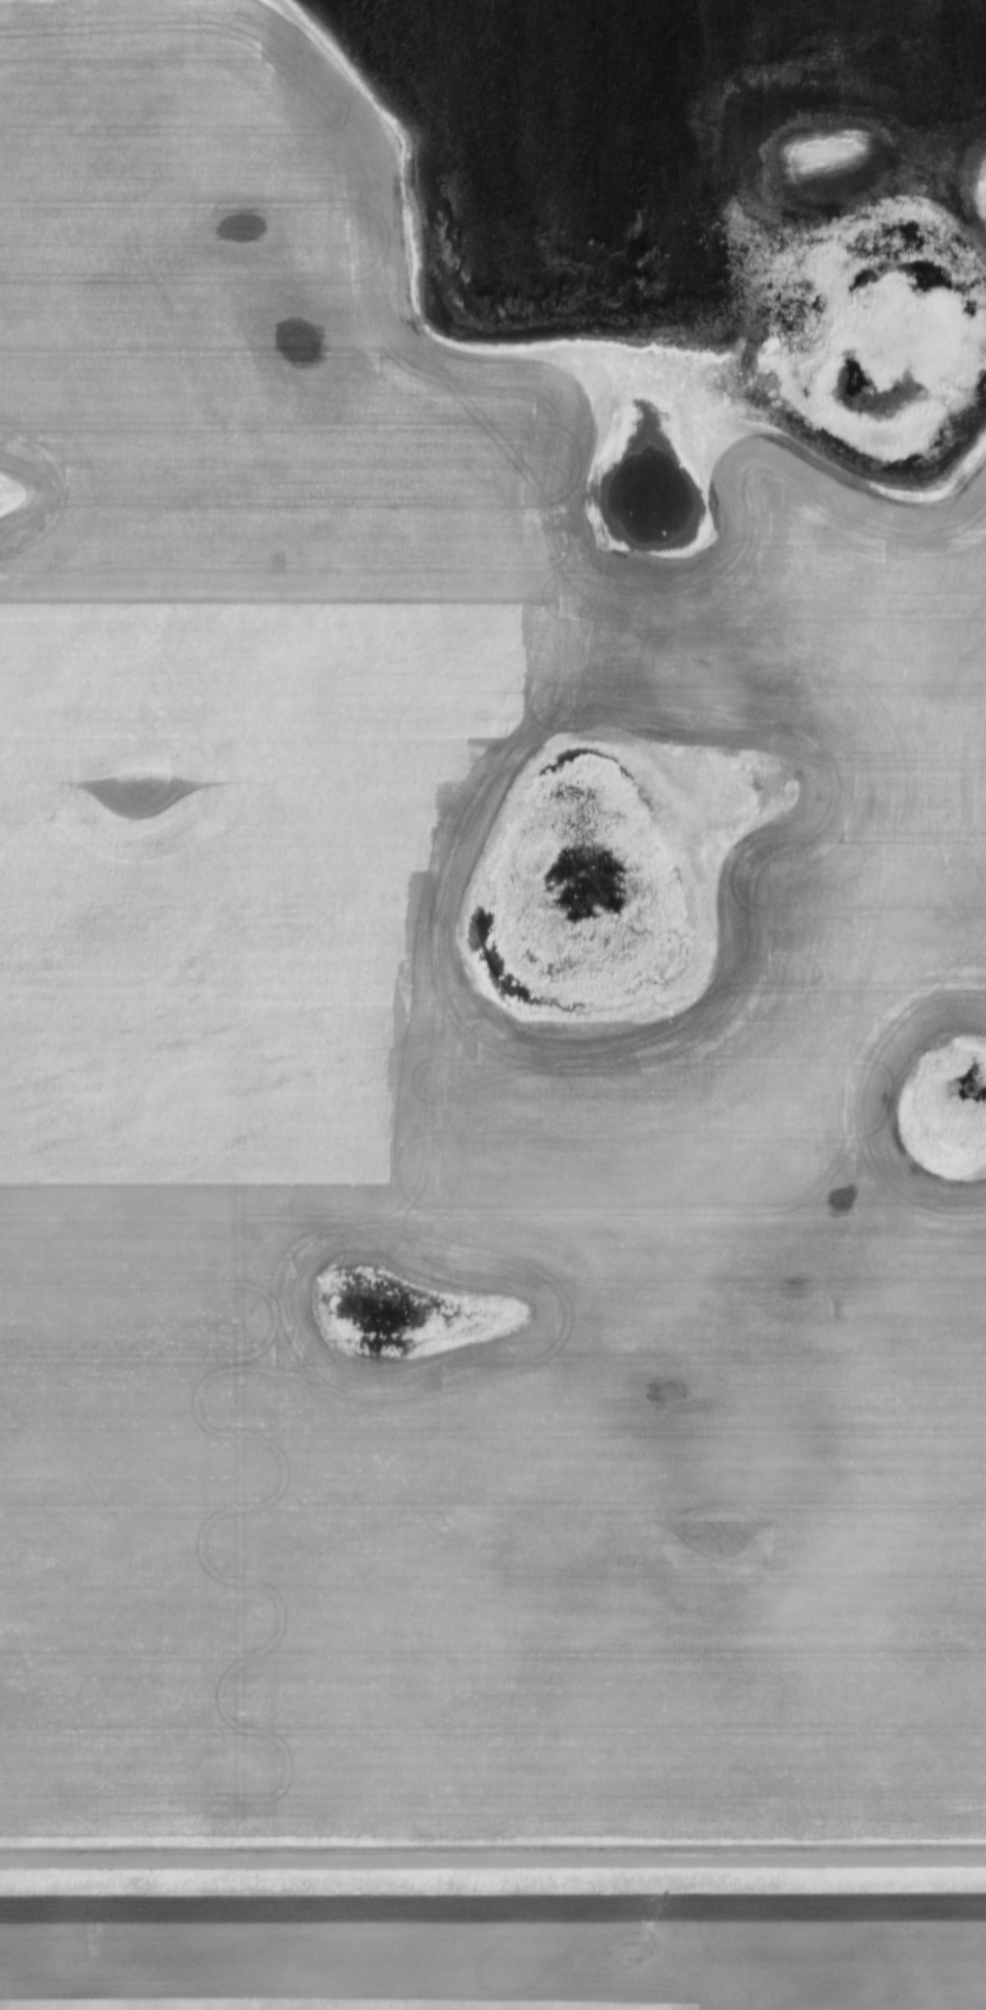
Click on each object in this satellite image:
road: (492, 1860)

